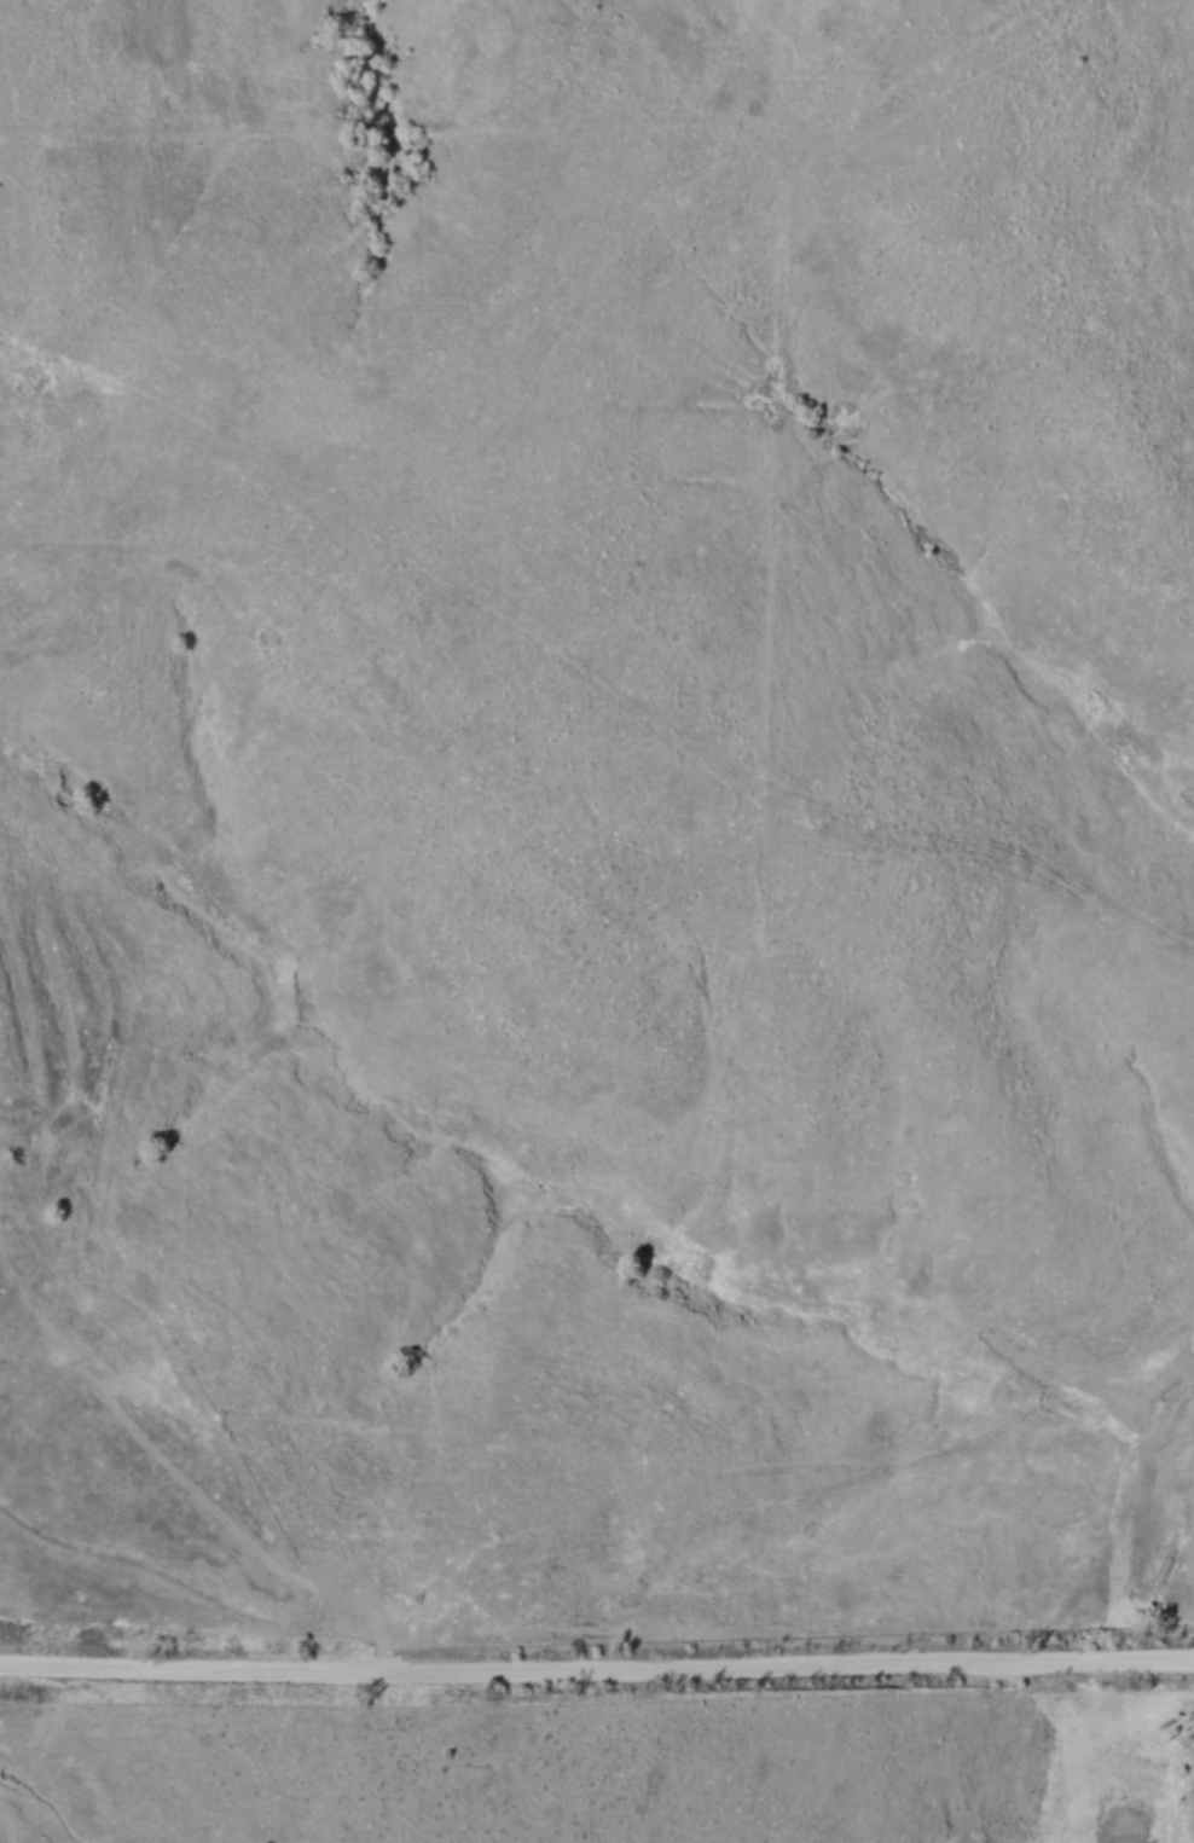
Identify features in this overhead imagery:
road: (597, 1673)

